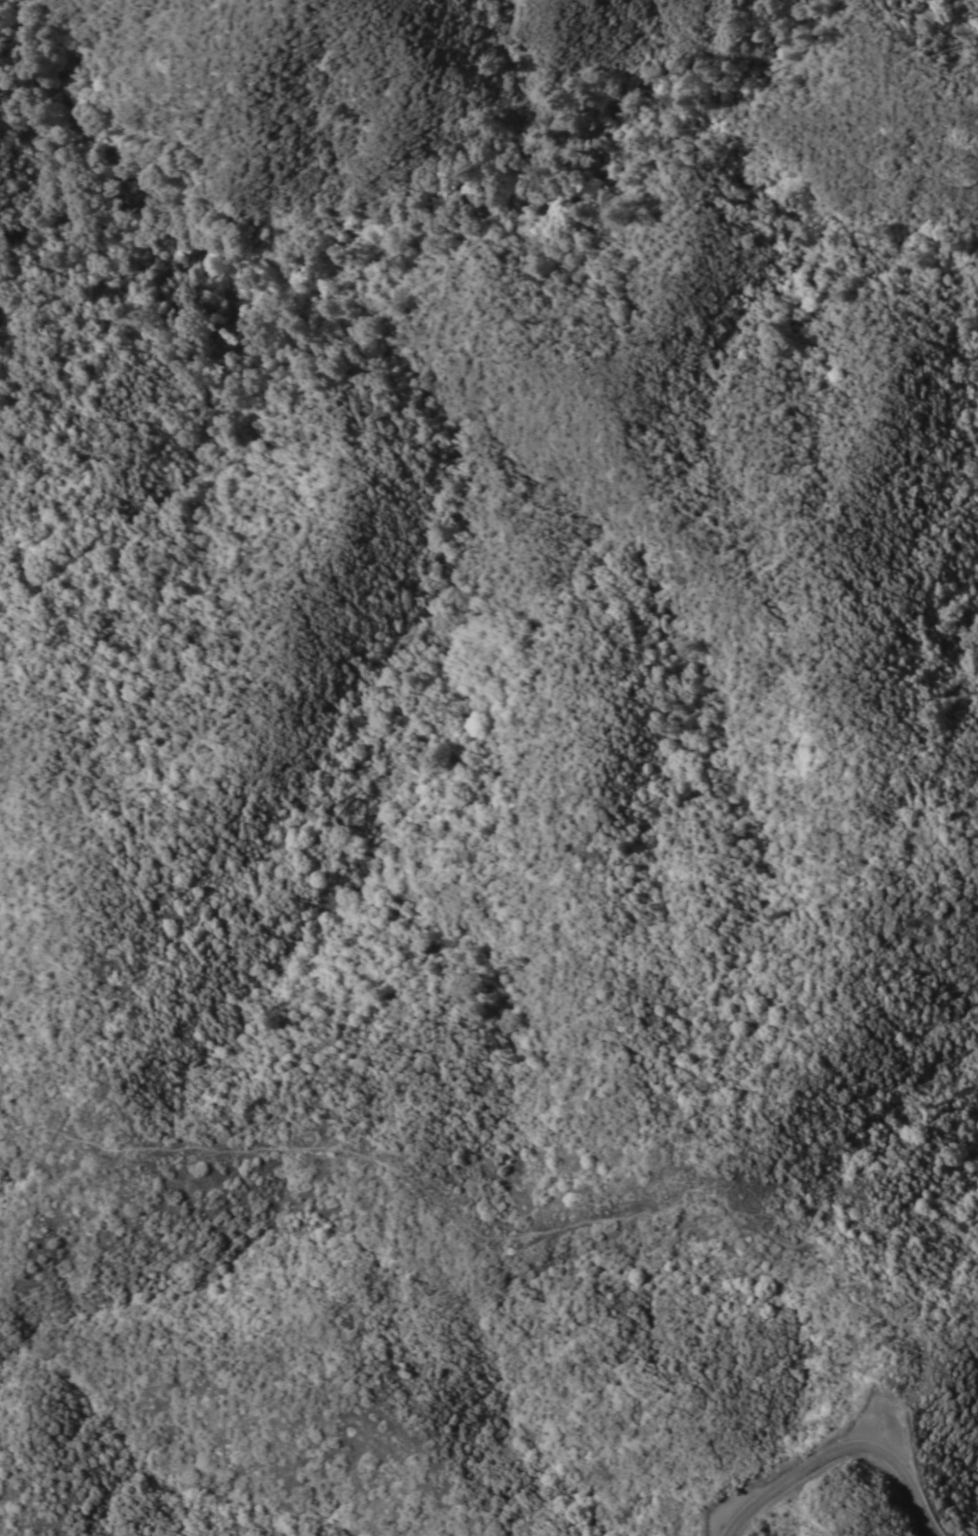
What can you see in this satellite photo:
road: (840, 1448)

